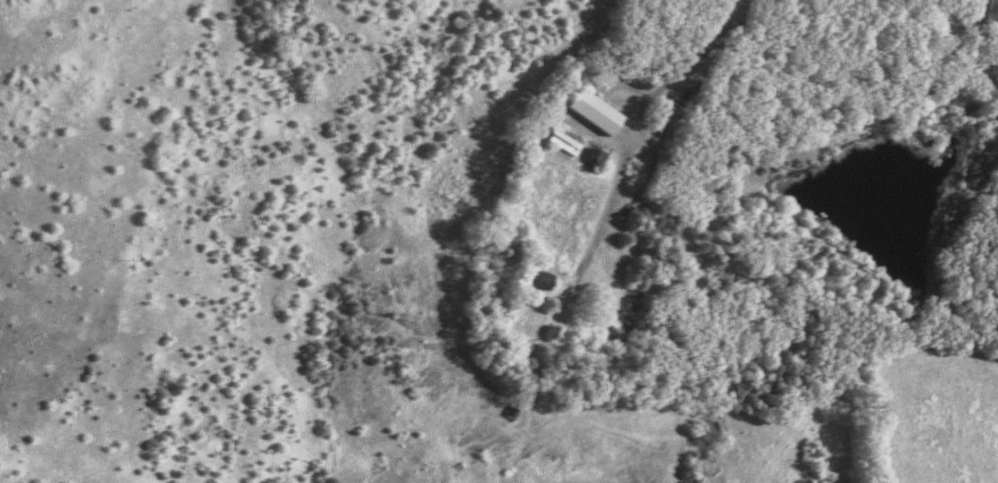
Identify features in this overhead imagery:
building: (983, 12)
building: (588, 113)
building: (595, 161)
building: (539, 282)

